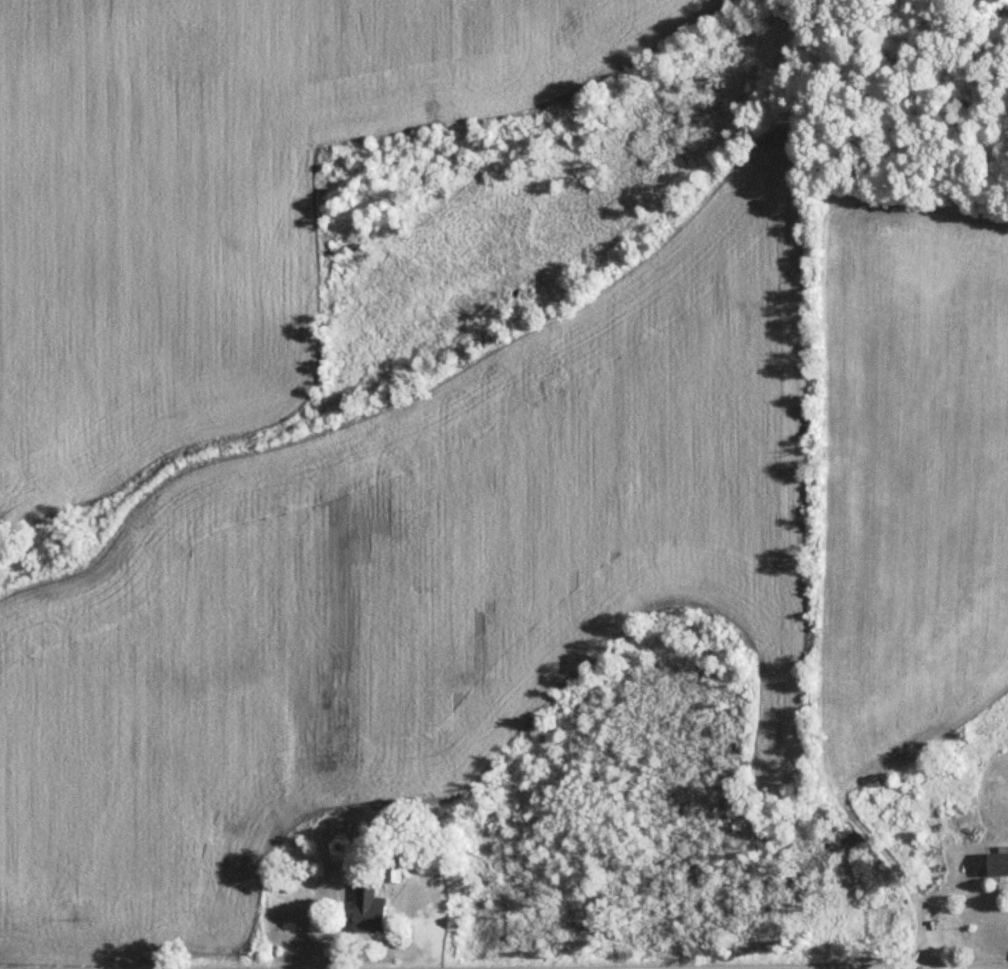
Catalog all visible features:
building: (380, 830)
building: (396, 865)
building: (999, 865)
building: (373, 911)

